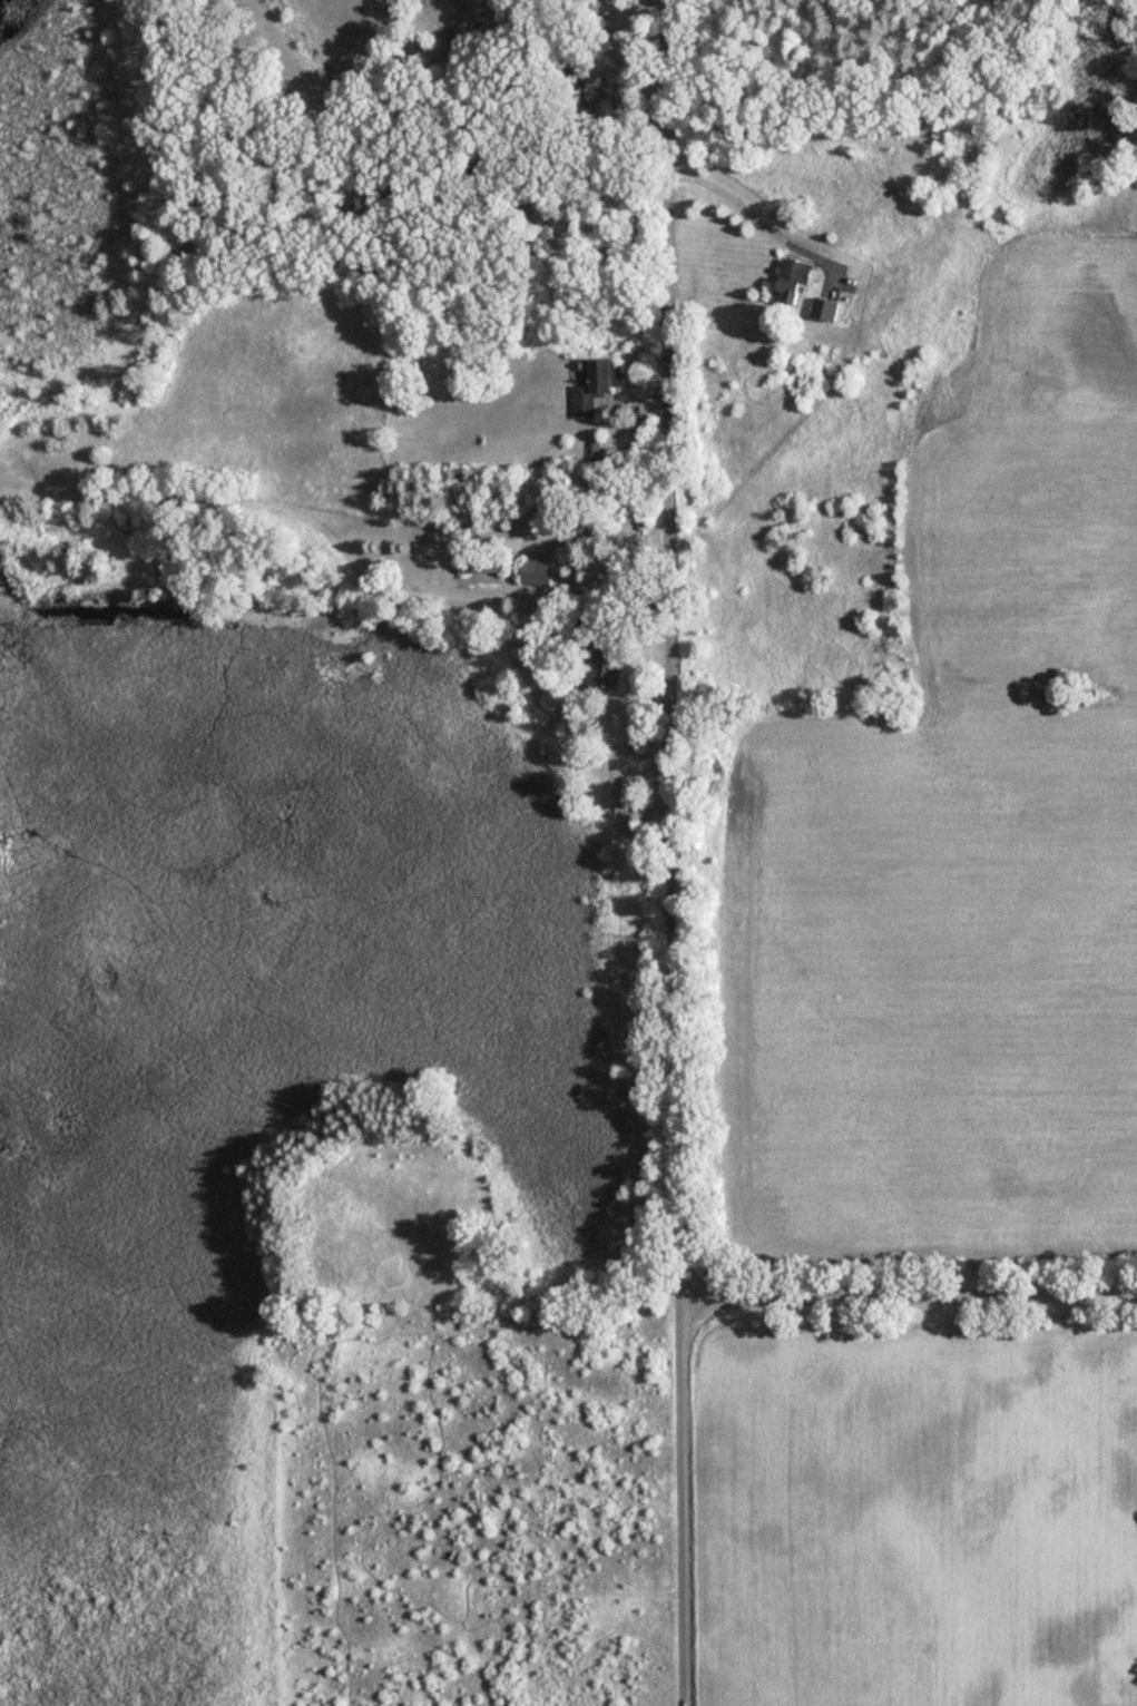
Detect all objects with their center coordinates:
road: (754, 212)
building: (786, 280)
building: (820, 310)
building: (587, 384)
building: (596, 484)
building: (487, 563)
building: (538, 573)
building: (604, 675)
crop: (961, 831)
road: (667, 853)
road: (906, 1298)
crop: (915, 1514)

